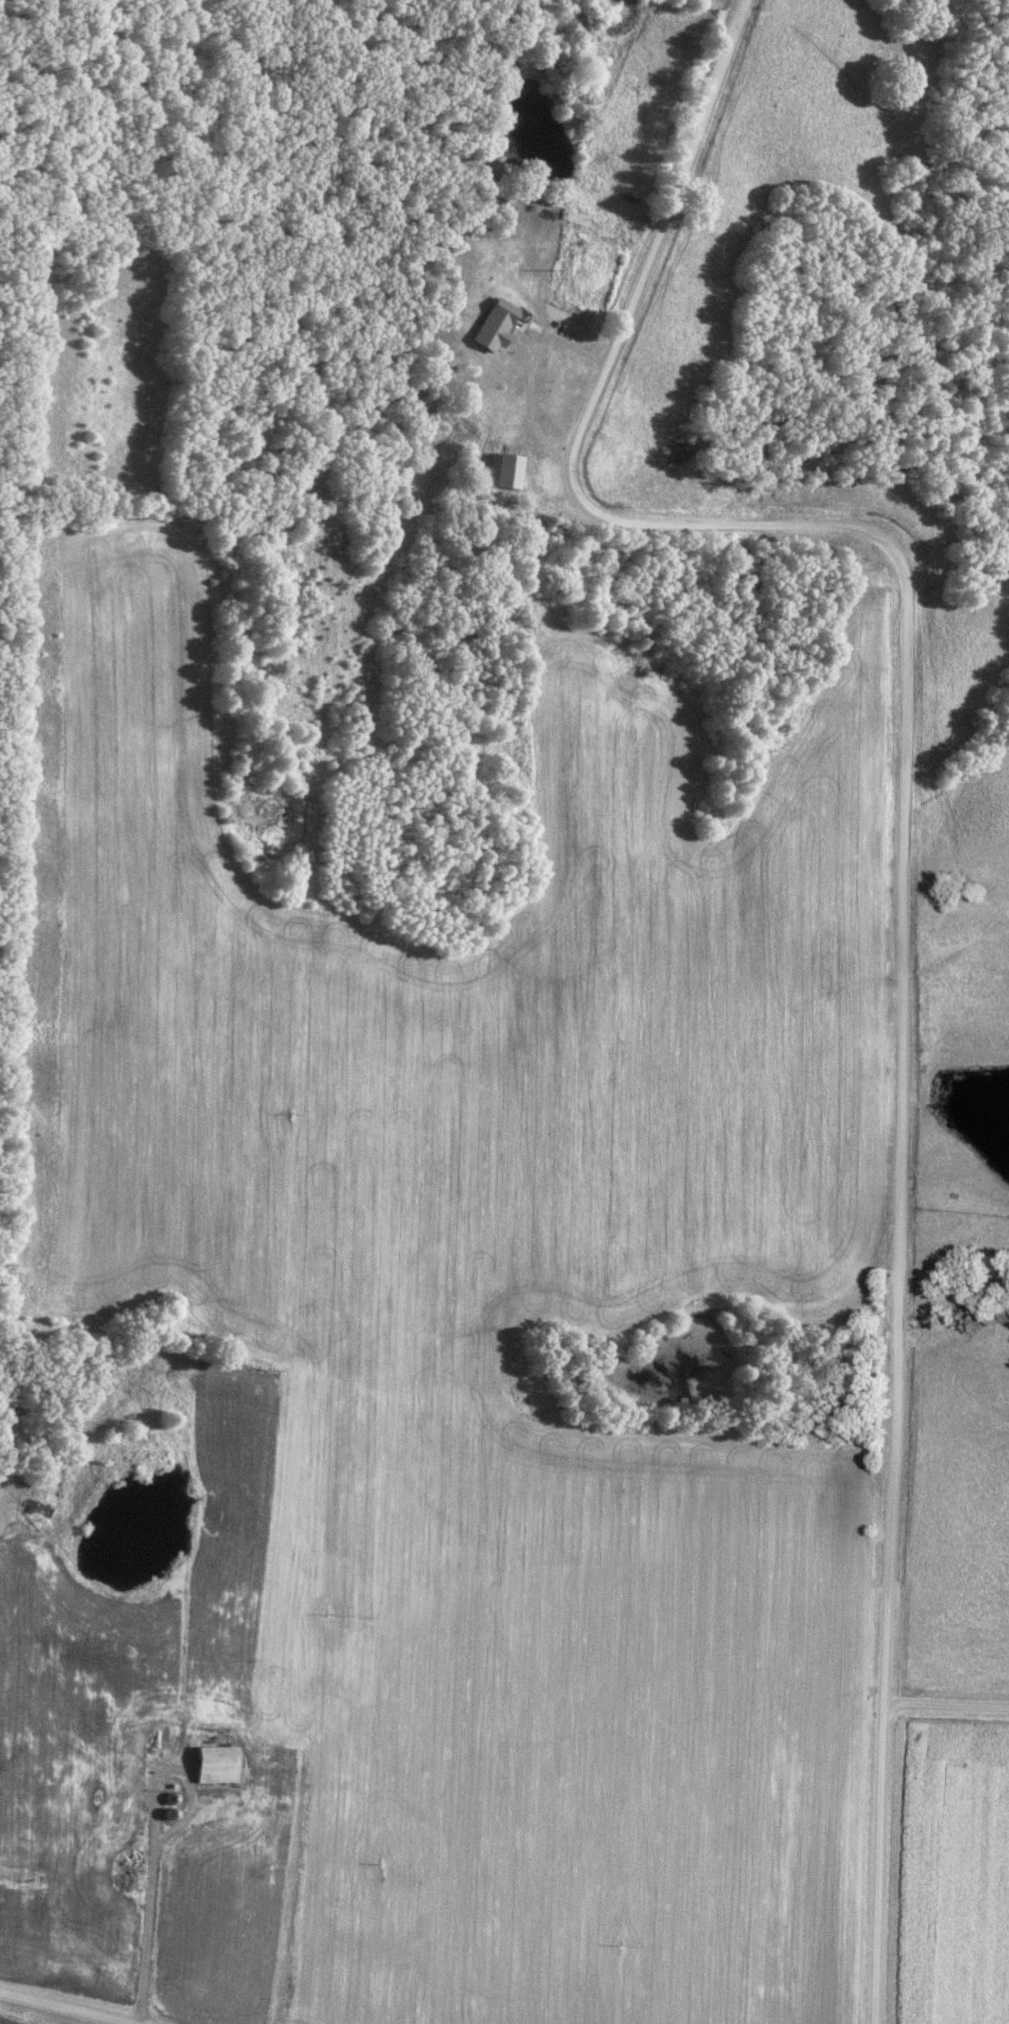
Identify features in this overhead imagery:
building: (553, 367)
road: (525, 376)
building: (512, 470)
building: (514, 507)
road: (902, 851)
road: (946, 1703)
building: (150, 1739)
building: (212, 1765)
road: (151, 1772)
building: (101, 1889)
road: (142, 1928)
road: (3, 1993)
road: (72, 2007)

